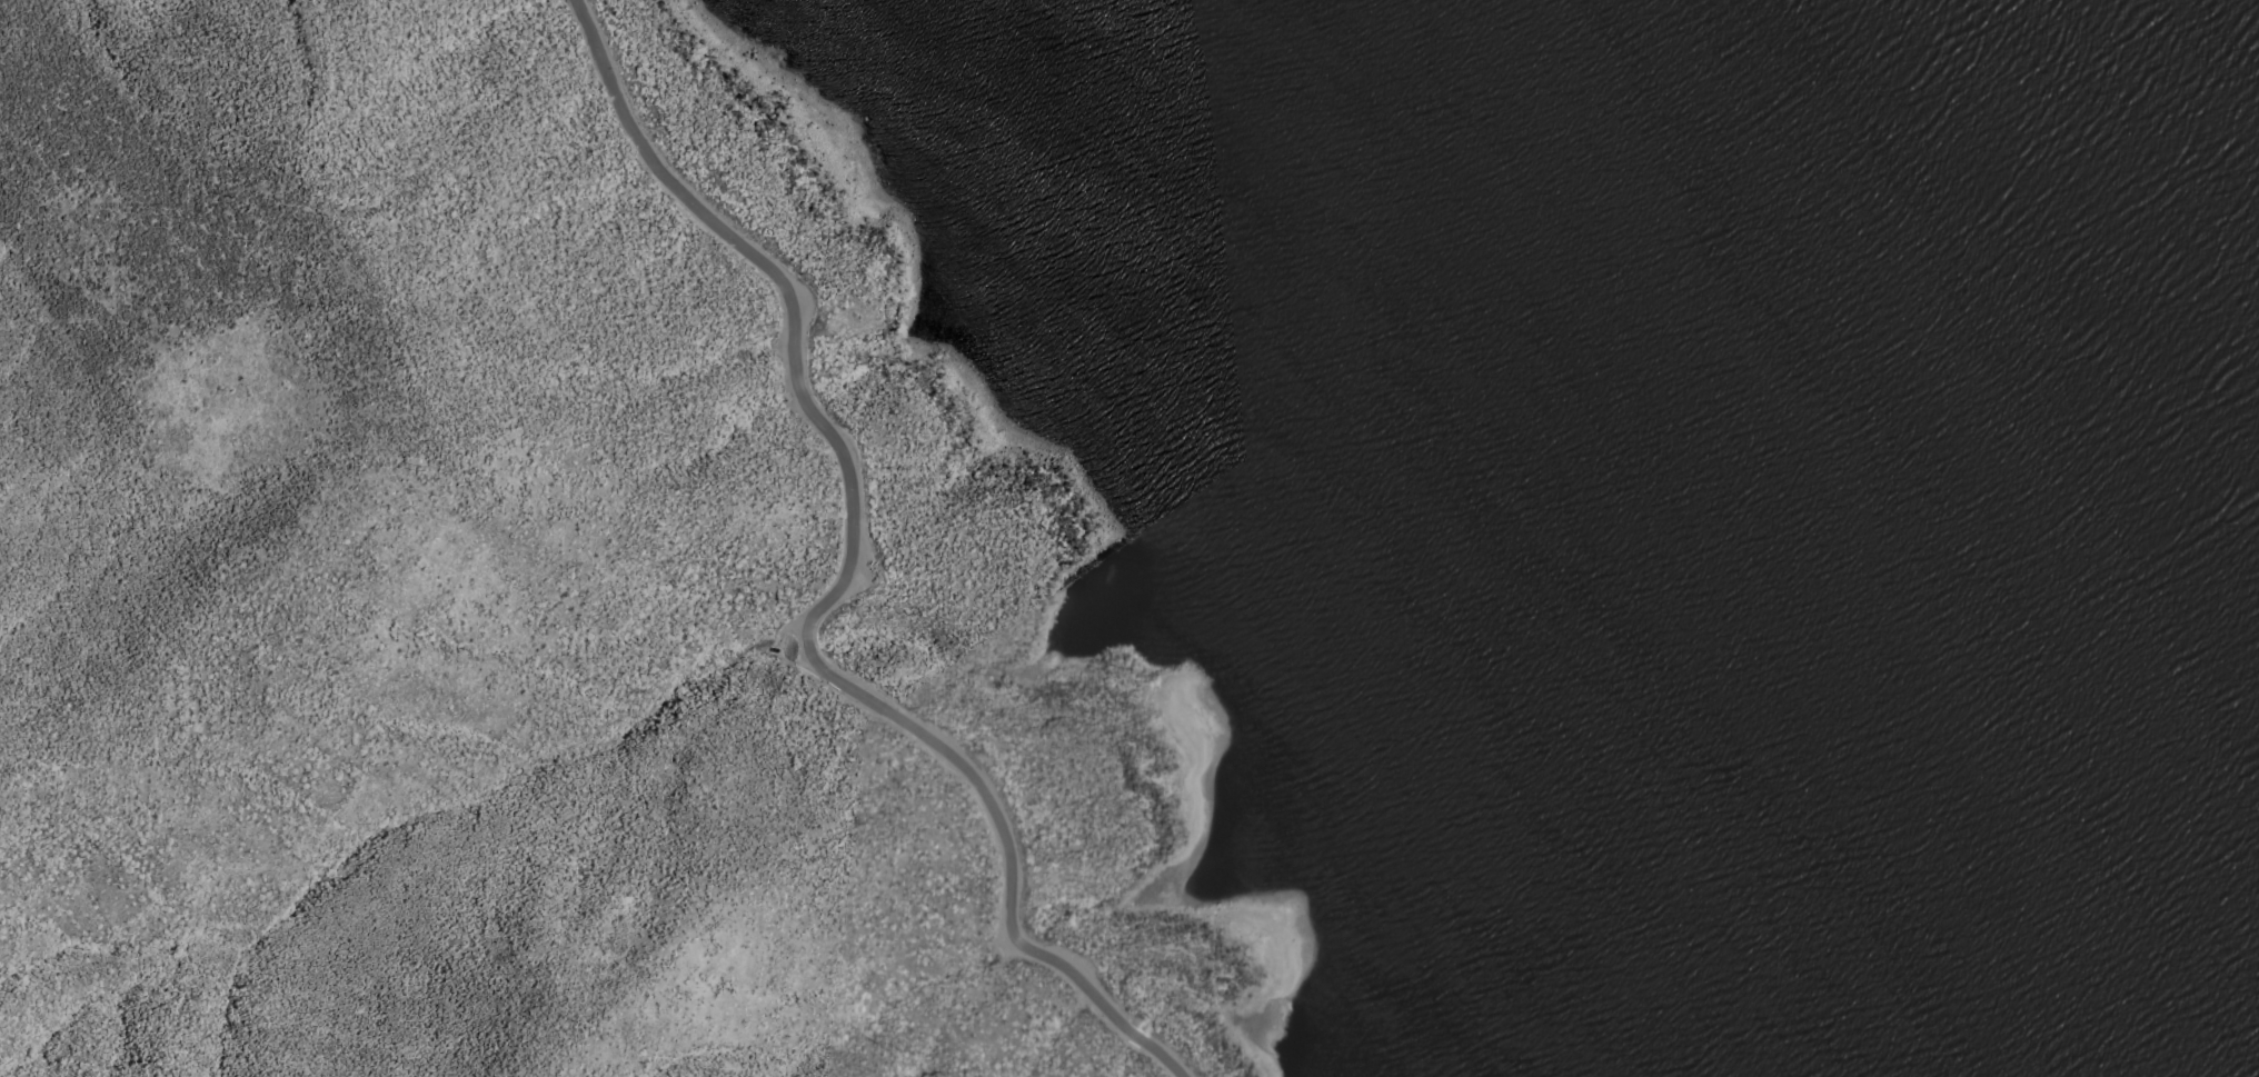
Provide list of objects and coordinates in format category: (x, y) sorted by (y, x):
road: (853, 590)

